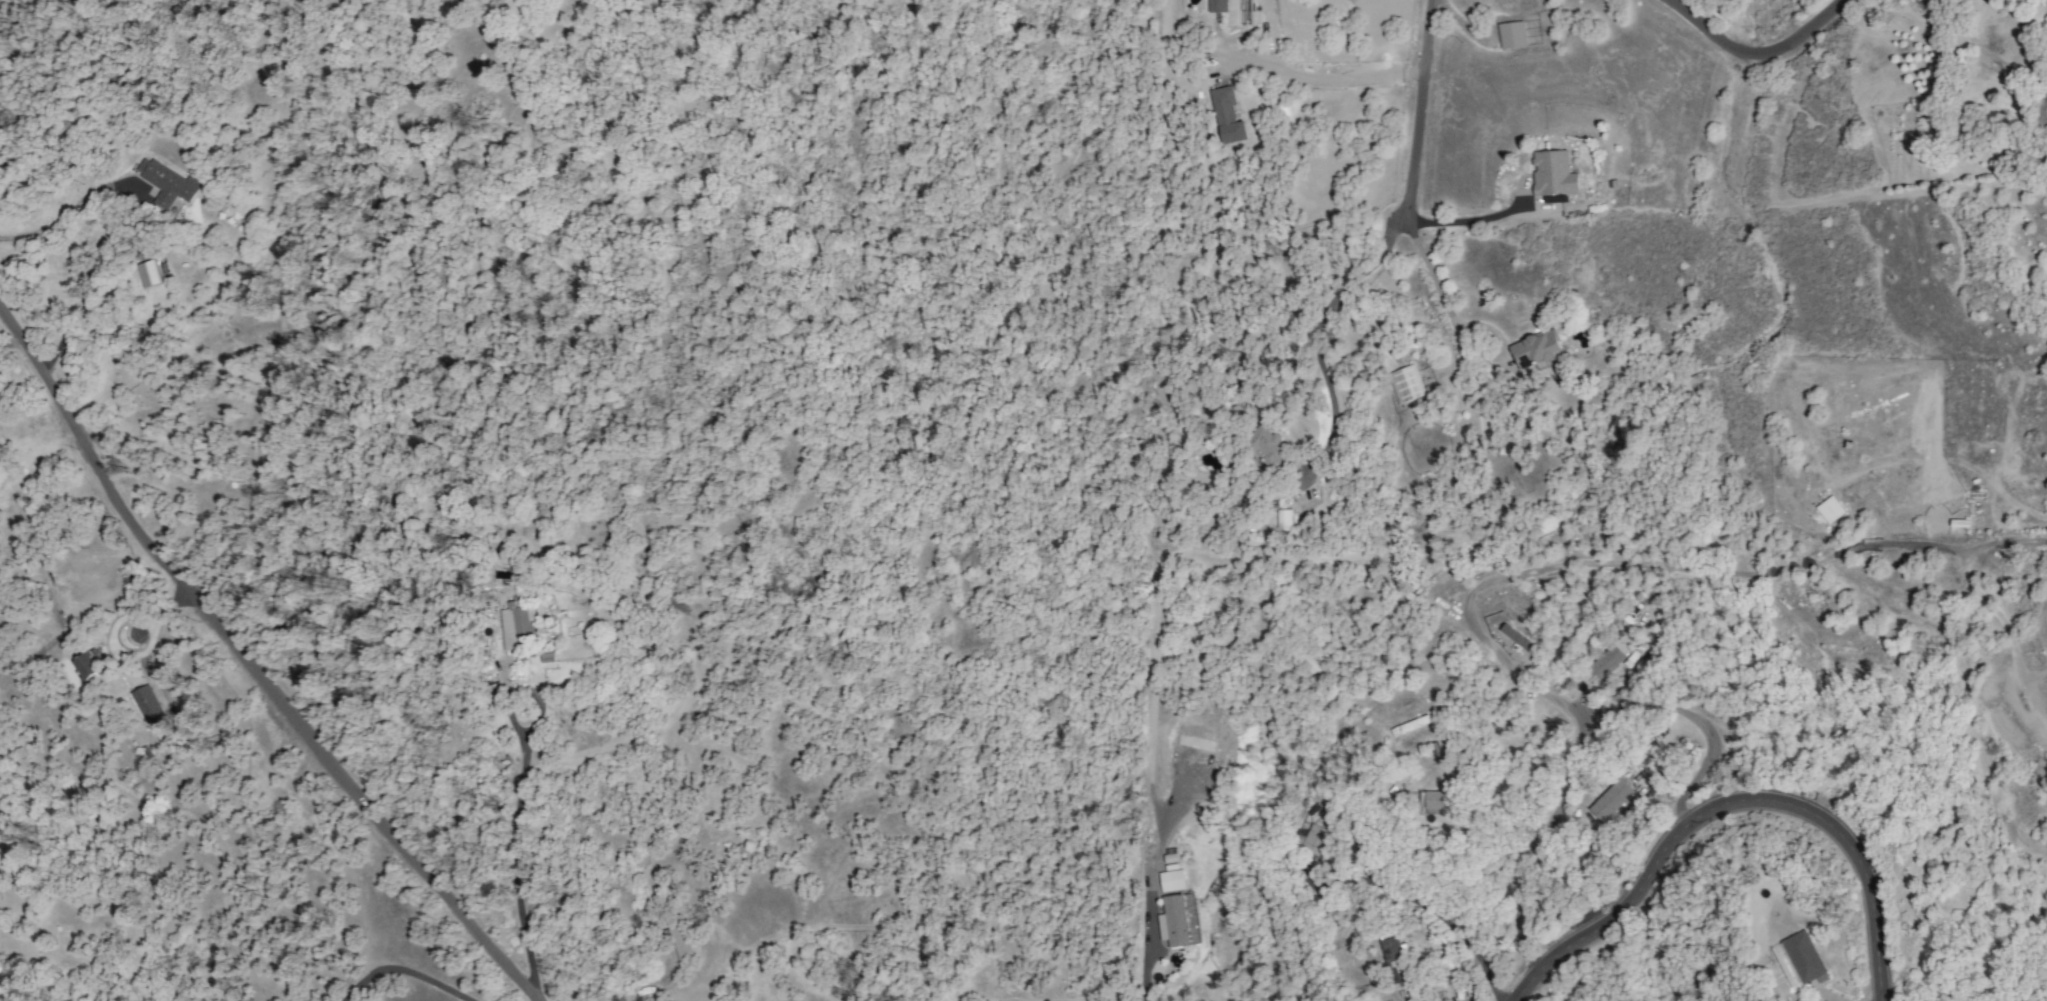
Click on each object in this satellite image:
building: (1217, 6)
building: (1511, 35)
road: (1757, 52)
road: (1417, 109)
building: (1226, 116)
building: (1552, 173)
building: (165, 183)
road: (59, 219)
road: (1462, 220)
road: (1428, 267)
building: (147, 273)
road: (1315, 324)
building: (1535, 351)
building: (1405, 384)
building: (1266, 446)
building: (1829, 509)
building: (1283, 520)
road: (1663, 566)
building: (516, 625)
building: (1515, 637)
building: (1629, 659)
building: (1604, 662)
building: (87, 666)
building: (545, 666)
road: (248, 672)
building: (147, 705)
building: (1409, 725)
building: (1194, 743)
road: (1580, 744)
building: (1434, 800)
building: (1609, 800)
road: (1732, 805)
building: (1310, 840)
road: (512, 864)
building: (1170, 881)
road: (1146, 916)
building: (1177, 921)
road: (1448, 921)
building: (679, 937)
building: (1801, 957)
building: (1393, 960)
road: (406, 973)

